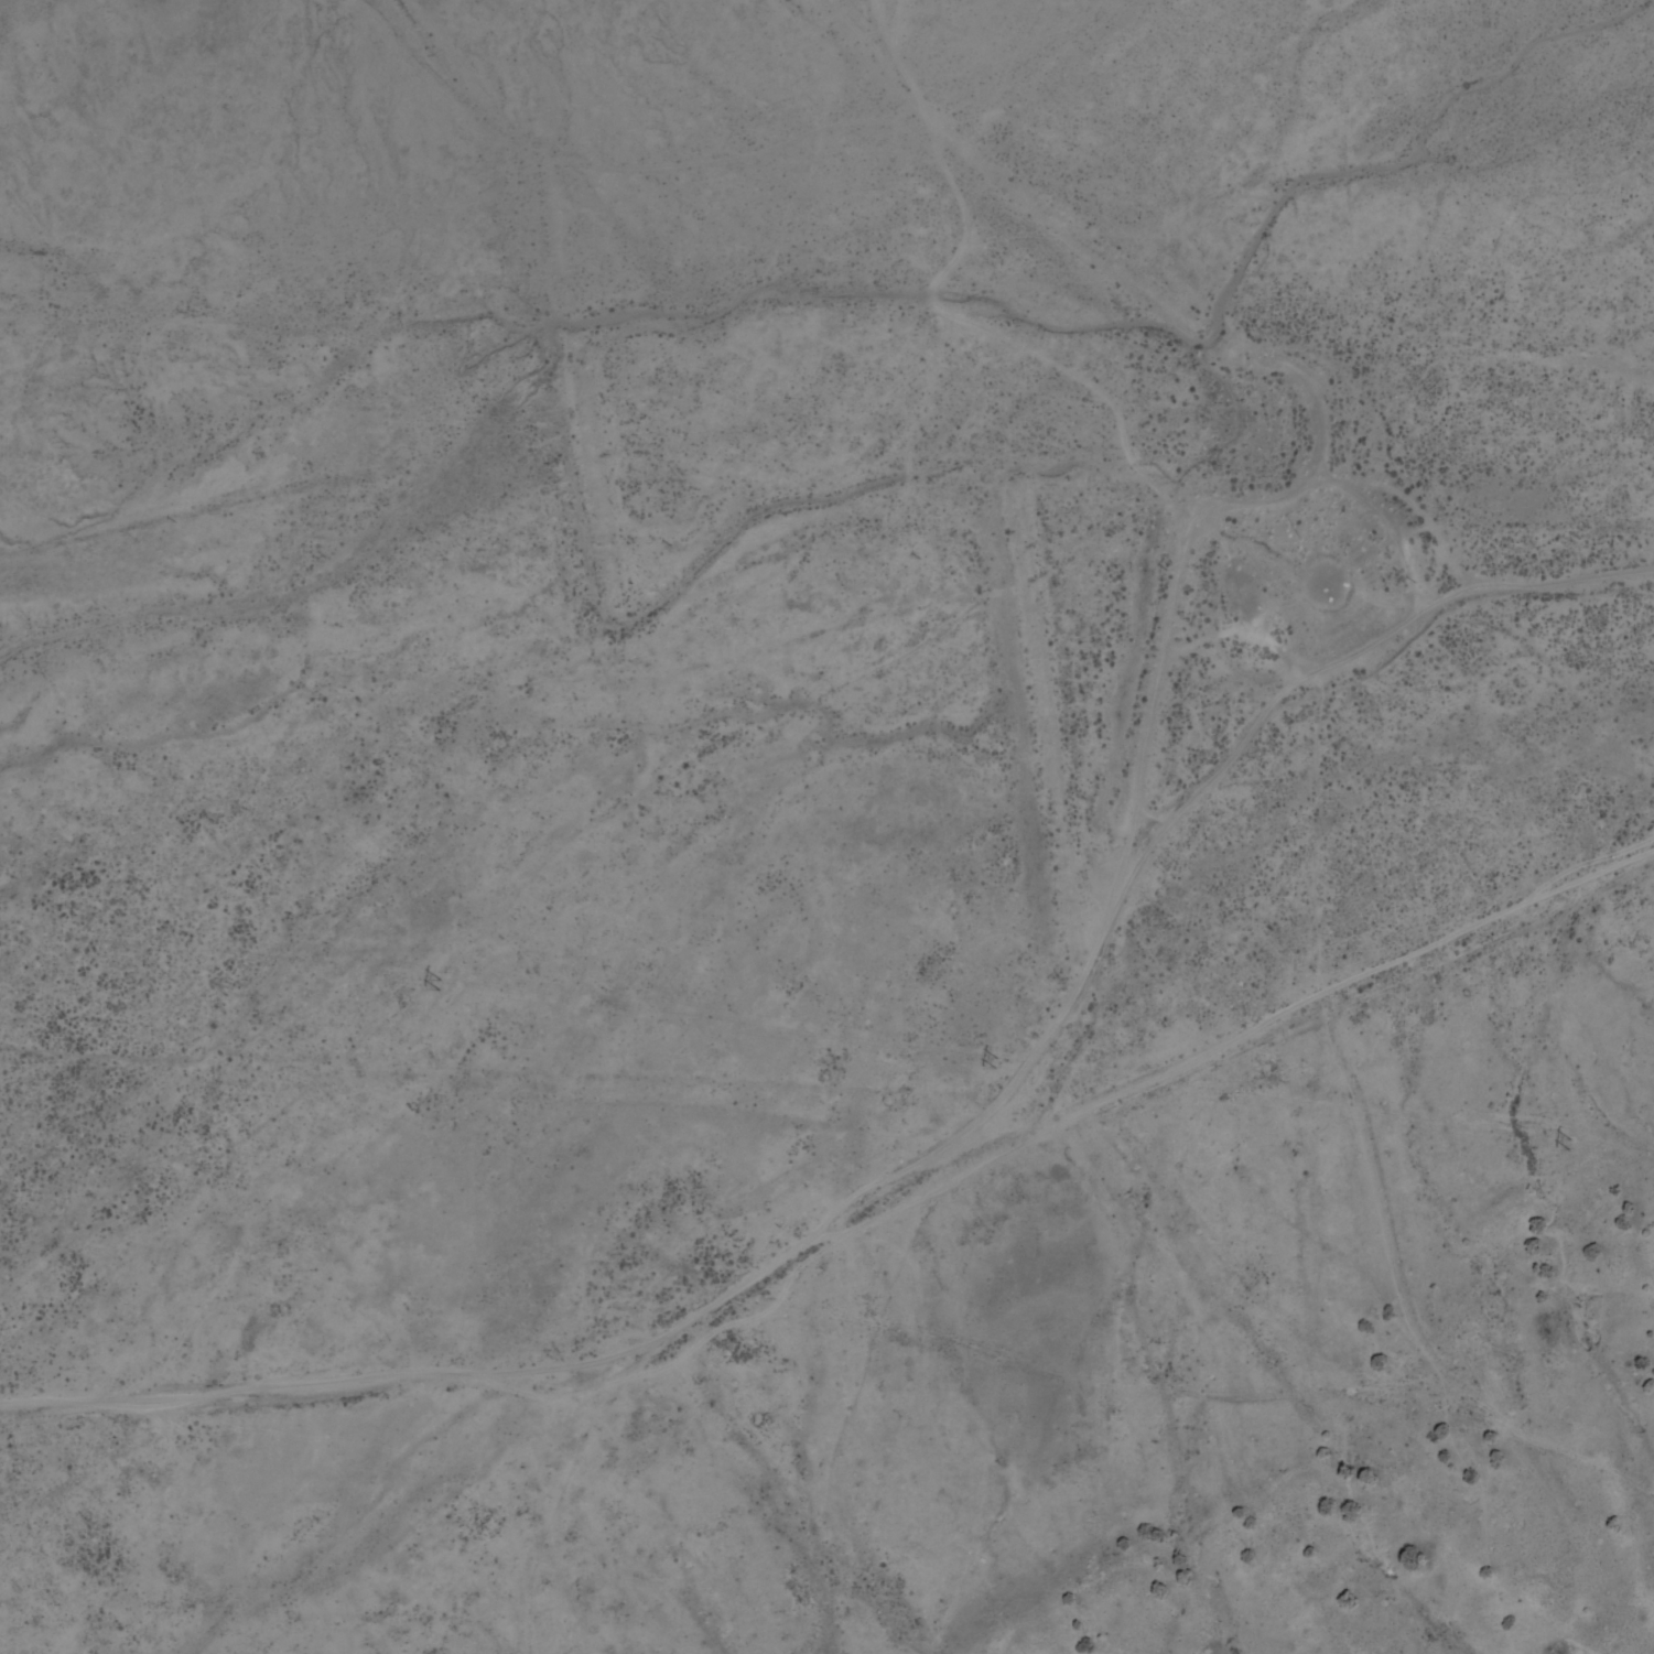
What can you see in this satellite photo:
power tower: (439, 984)
power tower: (995, 1062)
power tower: (1571, 1146)
road: (1045, 1167)
road: (1308, 1286)
road: (810, 1354)

